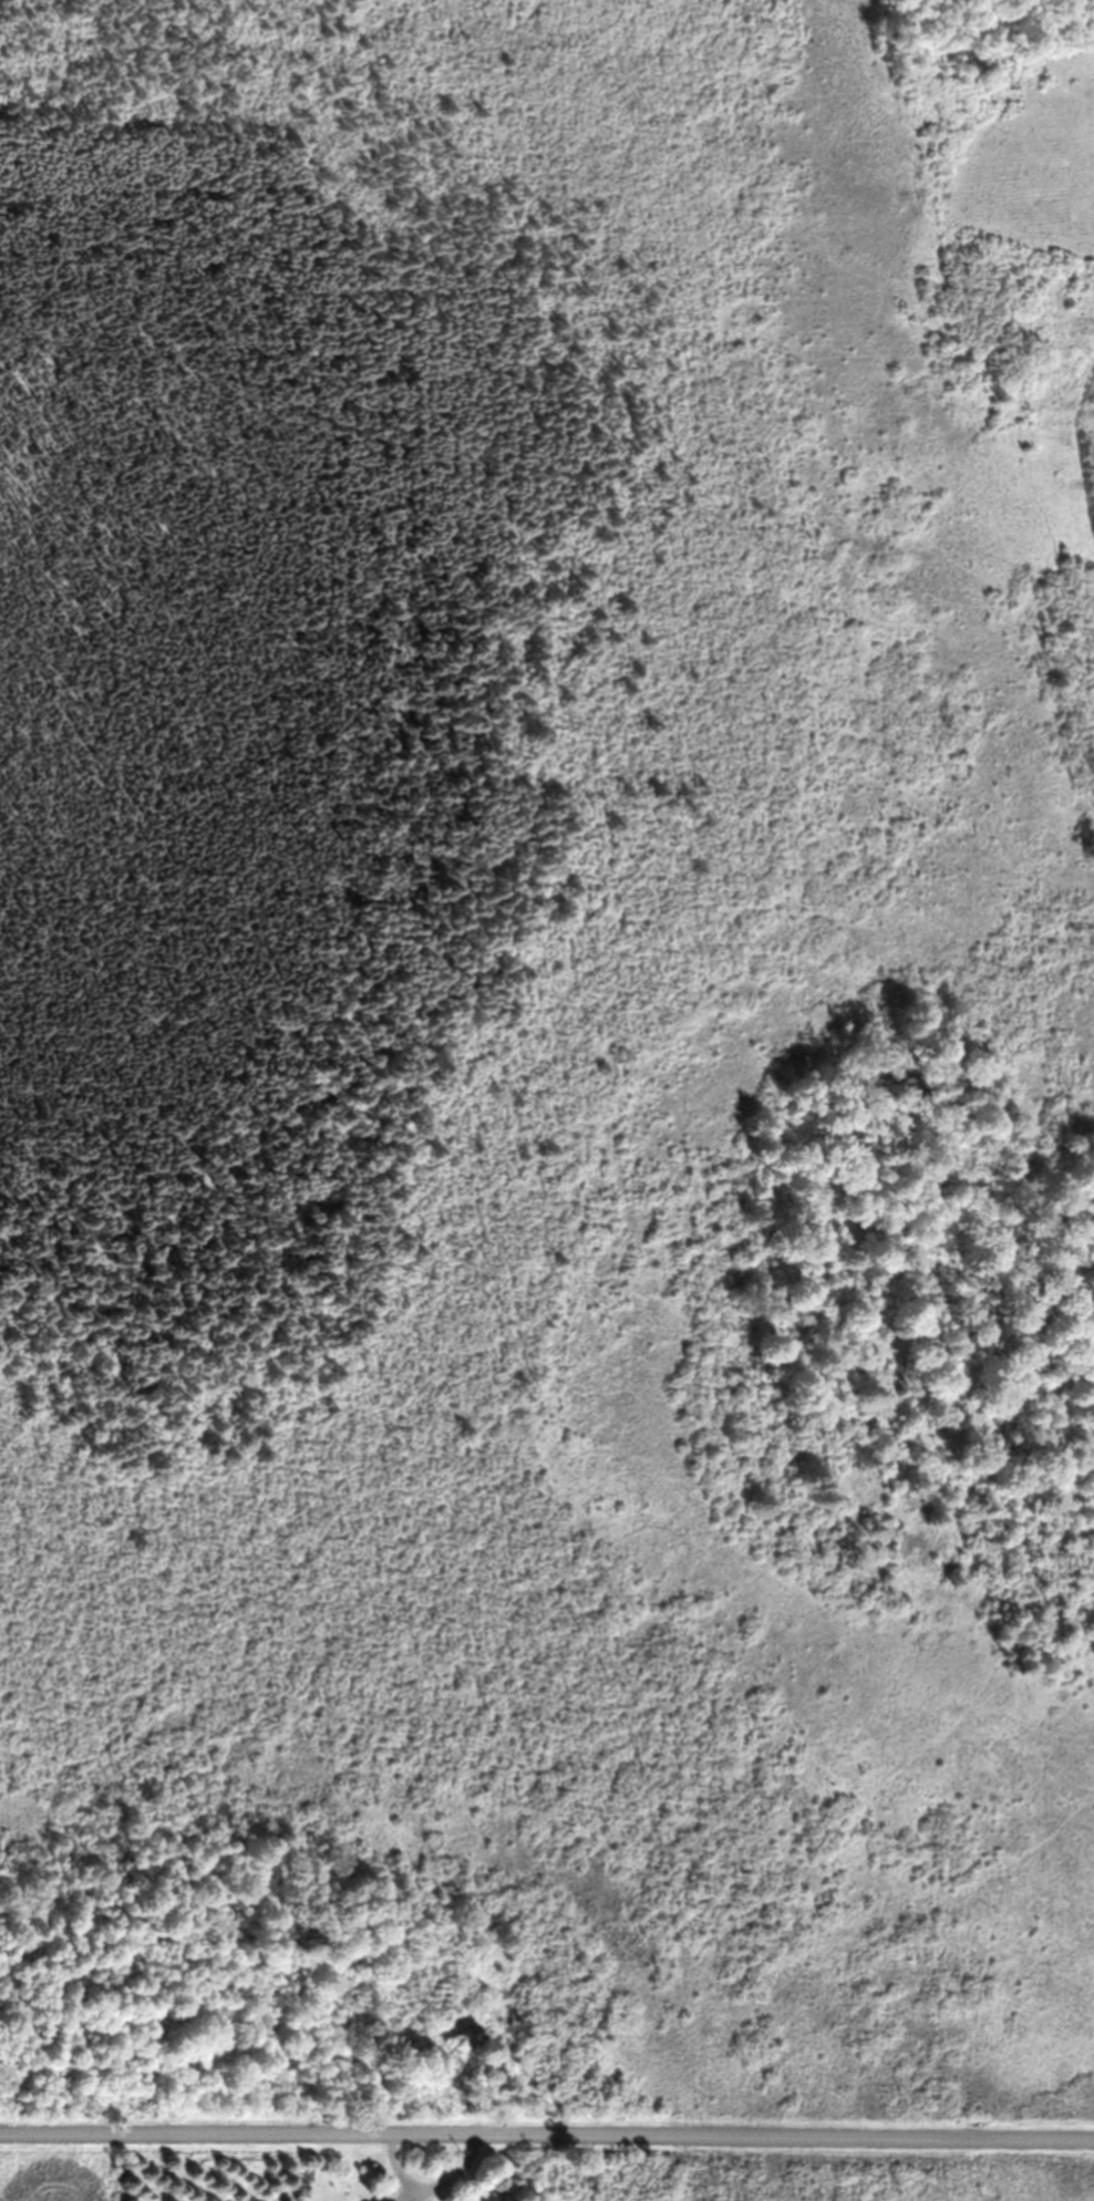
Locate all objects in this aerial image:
road: (547, 2132)
building: (391, 2199)

